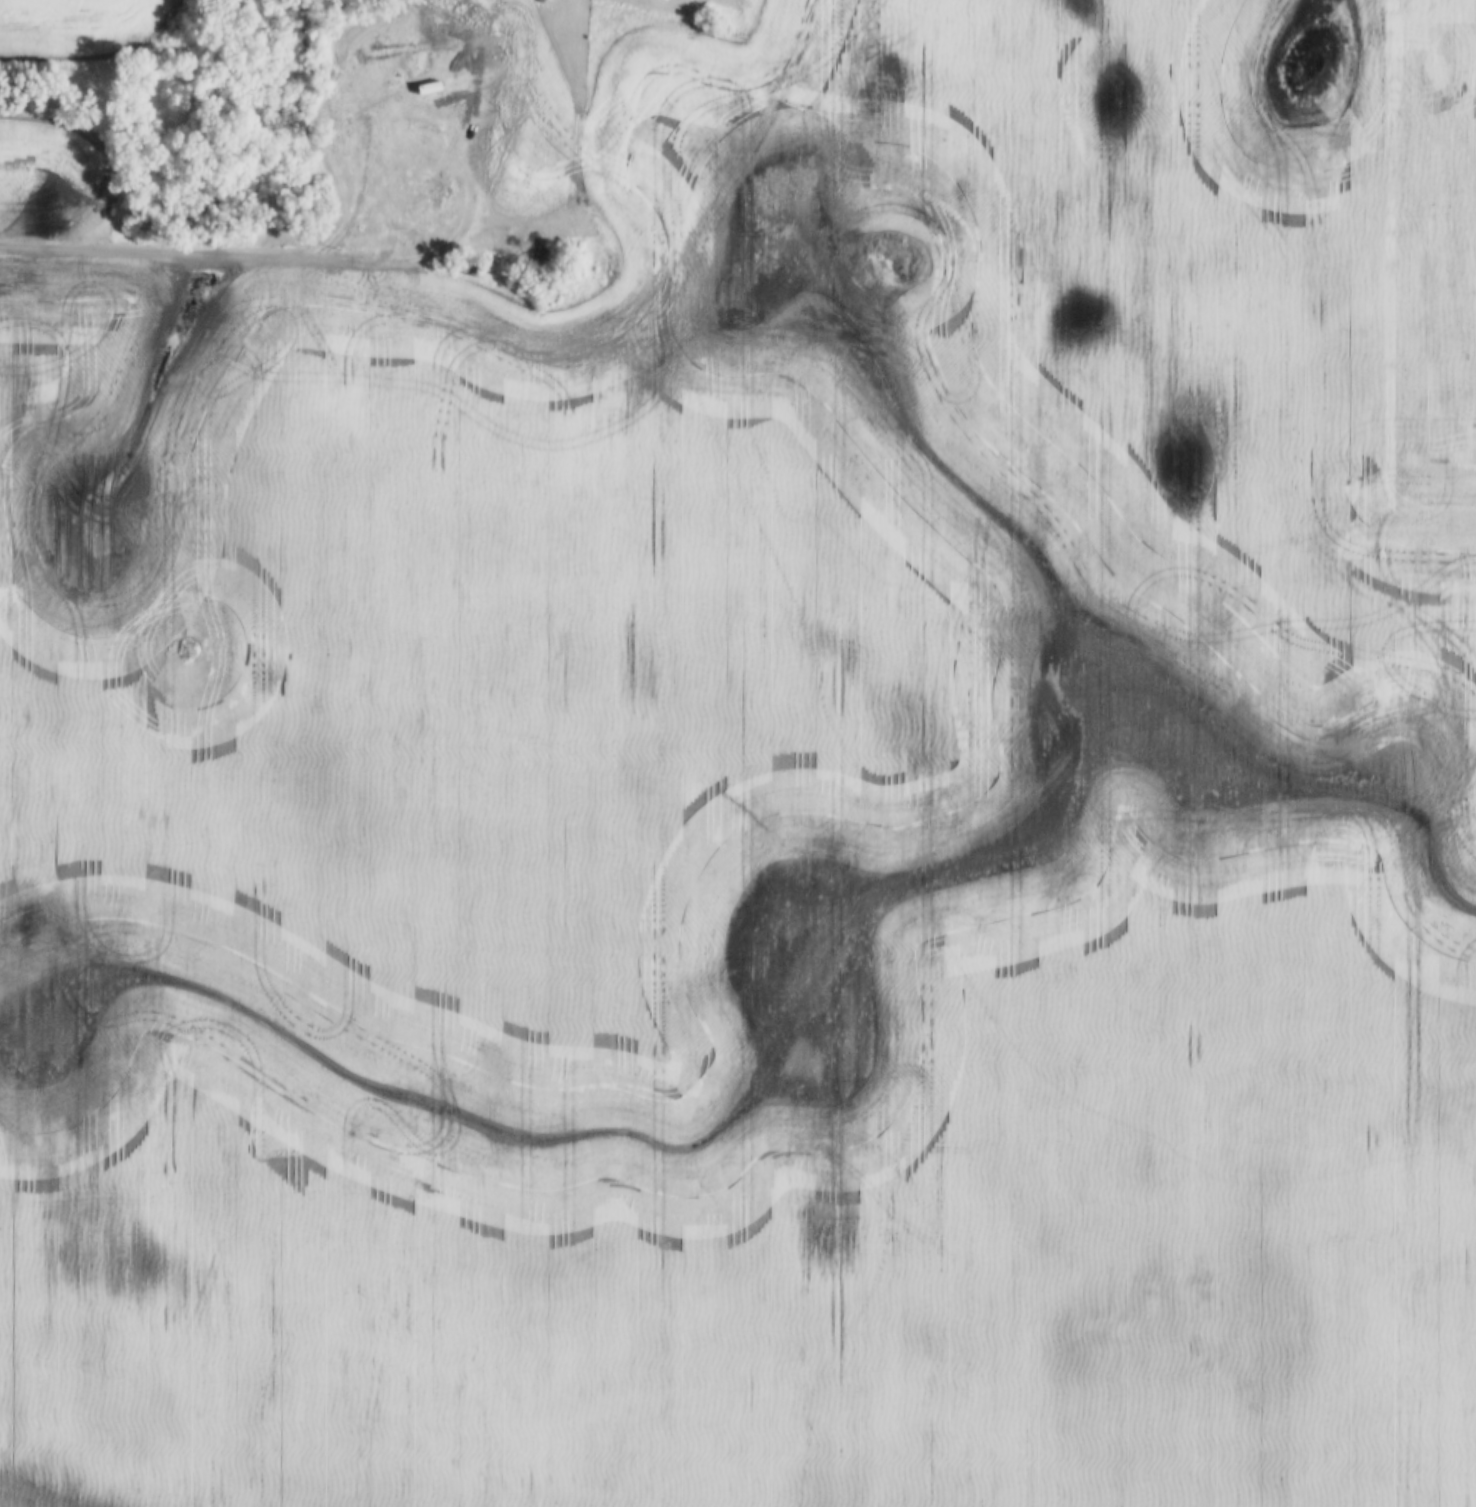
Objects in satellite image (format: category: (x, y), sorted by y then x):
building: (387, 169)
road: (271, 256)
road: (916, 555)

